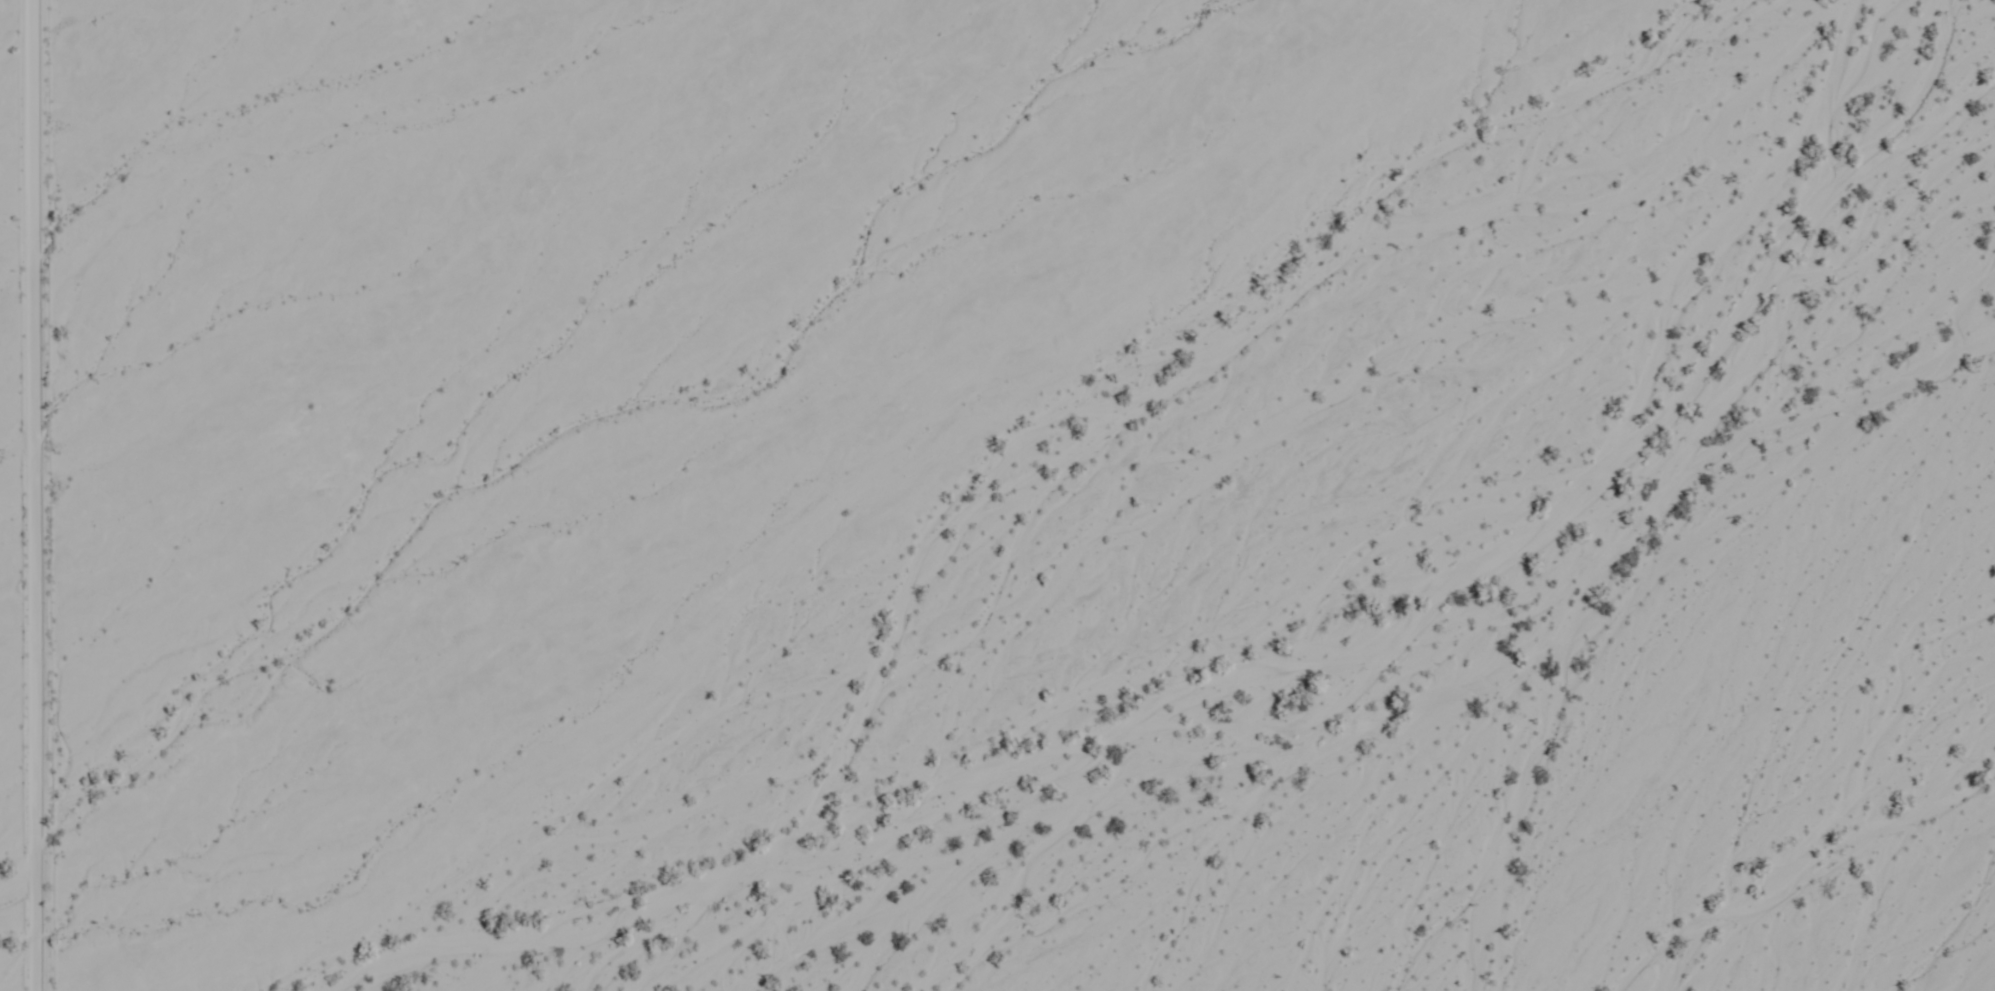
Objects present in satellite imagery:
road: (32, 495)

